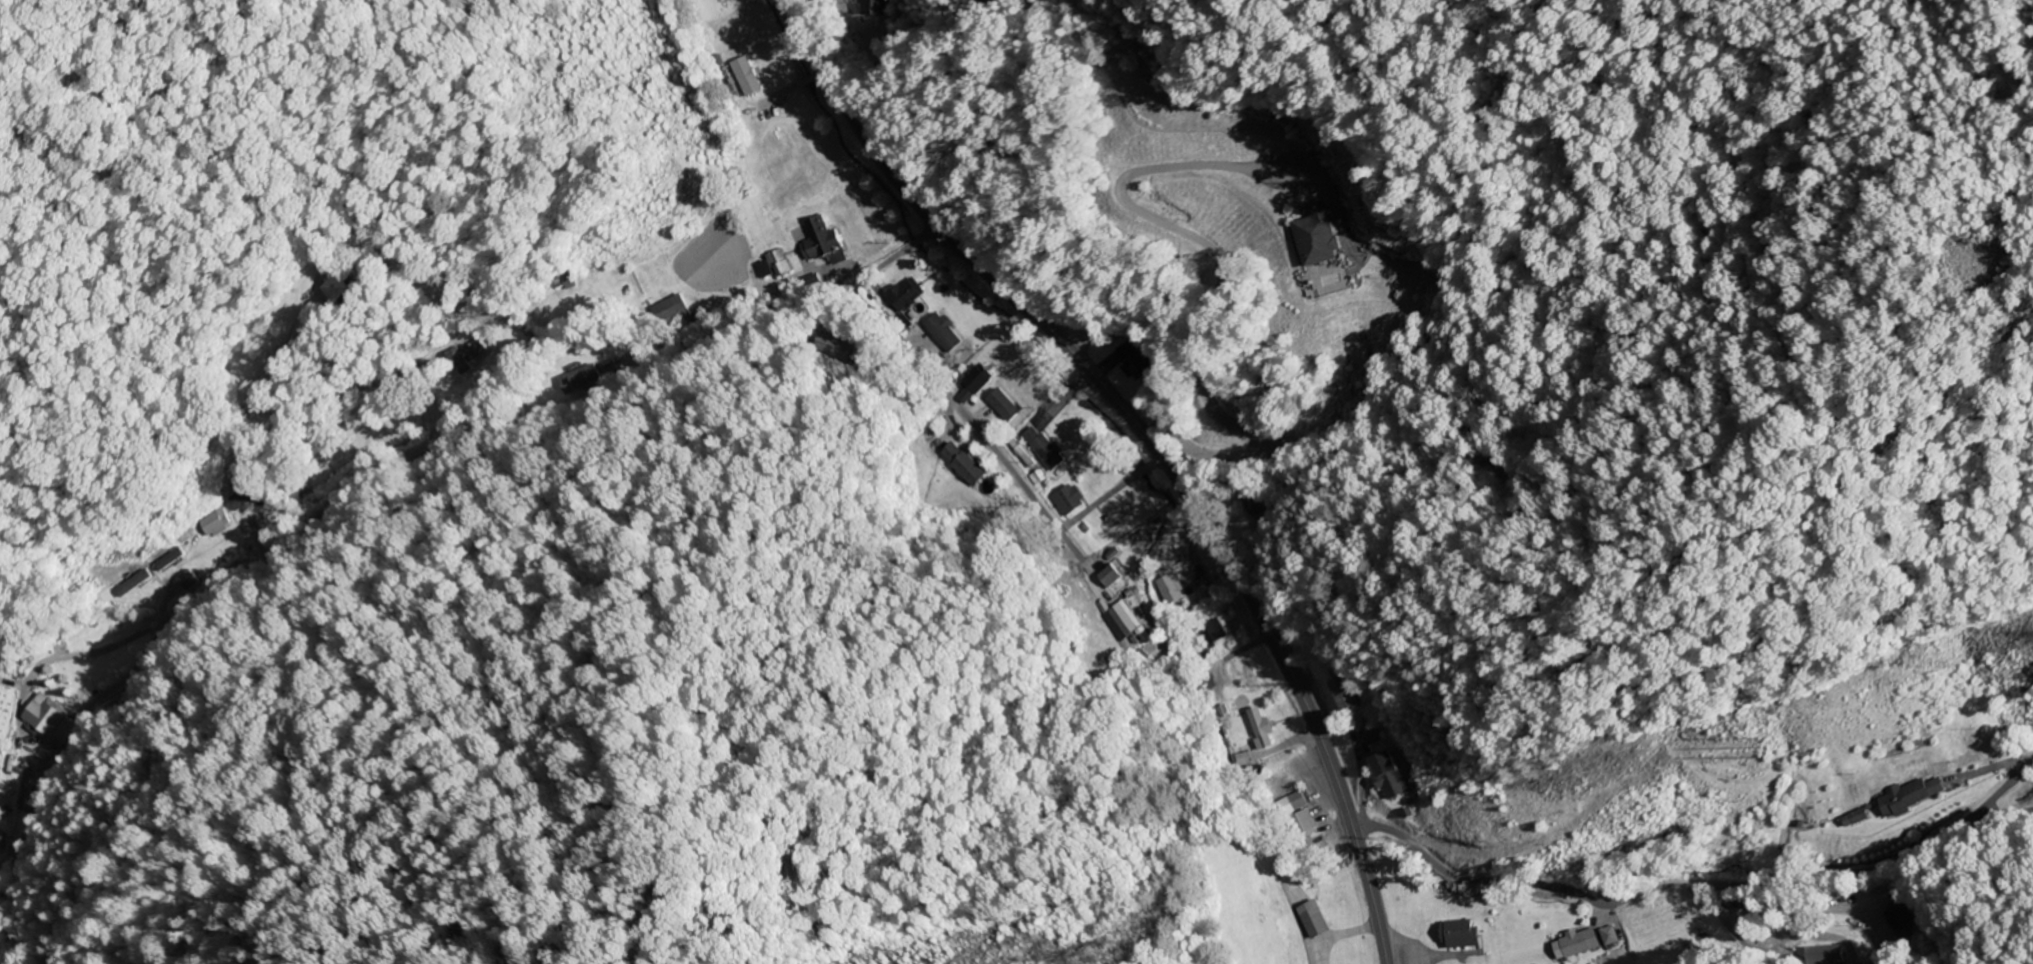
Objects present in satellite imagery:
building: (874, 7)
building: (1317, 235)
building: (820, 239)
building: (775, 265)
building: (337, 287)
building: (672, 315)
building: (940, 329)
building: (1133, 360)
building: (977, 379)
building: (580, 380)
road: (899, 381)
road: (538, 429)
road: (1150, 444)
building: (1044, 448)
building: (243, 498)
building: (1118, 516)
building: (214, 523)
building: (133, 580)
building: (188, 581)
building: (1118, 585)
building: (1170, 589)
building: (1119, 623)
building: (1214, 633)
building: (1341, 691)
building: (51, 720)
building: (1262, 728)
building: (1388, 777)
building: (1912, 796)
building: (1292, 805)
building: (1856, 819)
building: (1, 840)
building: (1318, 850)
road: (1698, 901)
building: (1902, 917)
building: (1313, 920)
building: (1461, 935)
building: (1589, 941)
building: (1826, 955)

